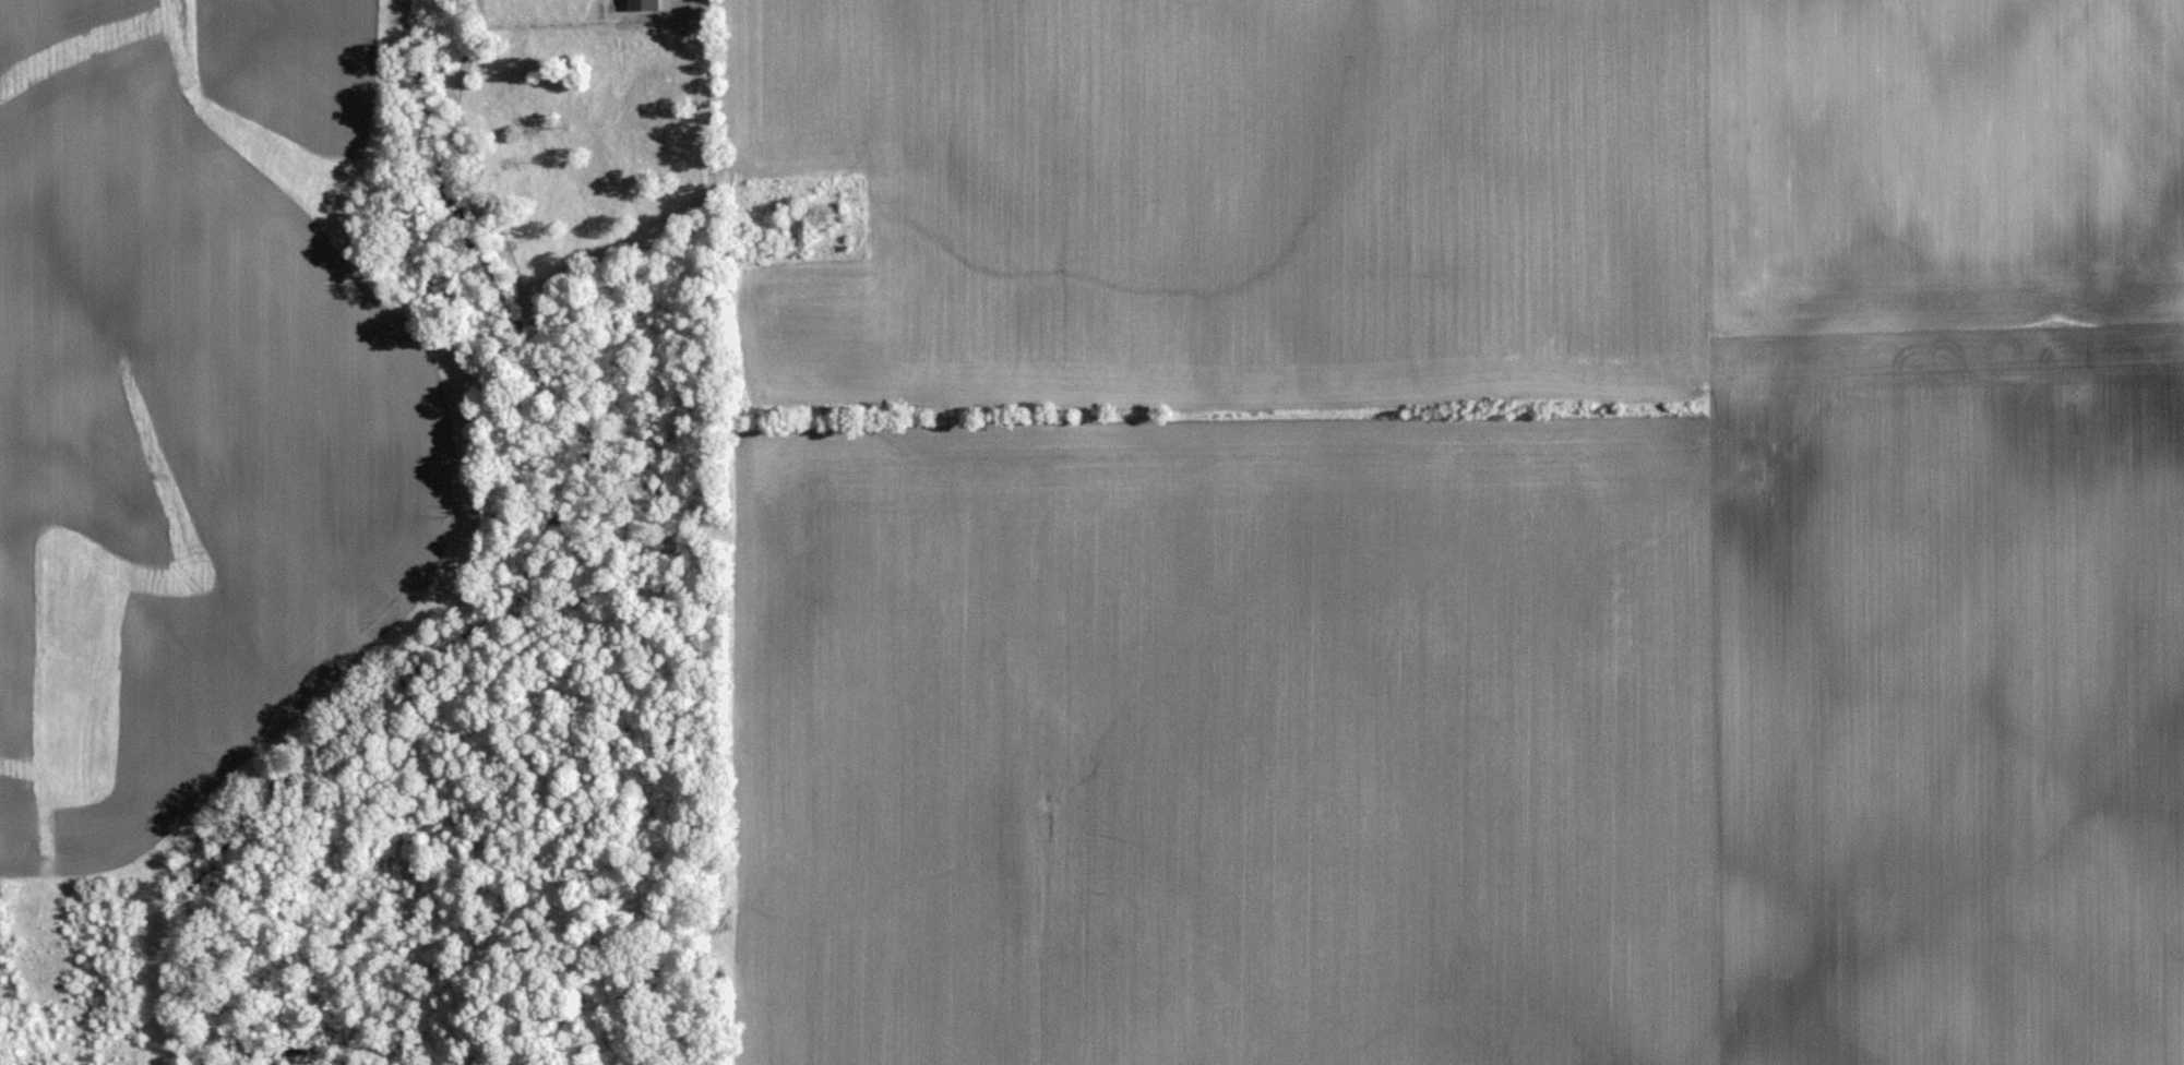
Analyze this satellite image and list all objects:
building: (653, 3)

